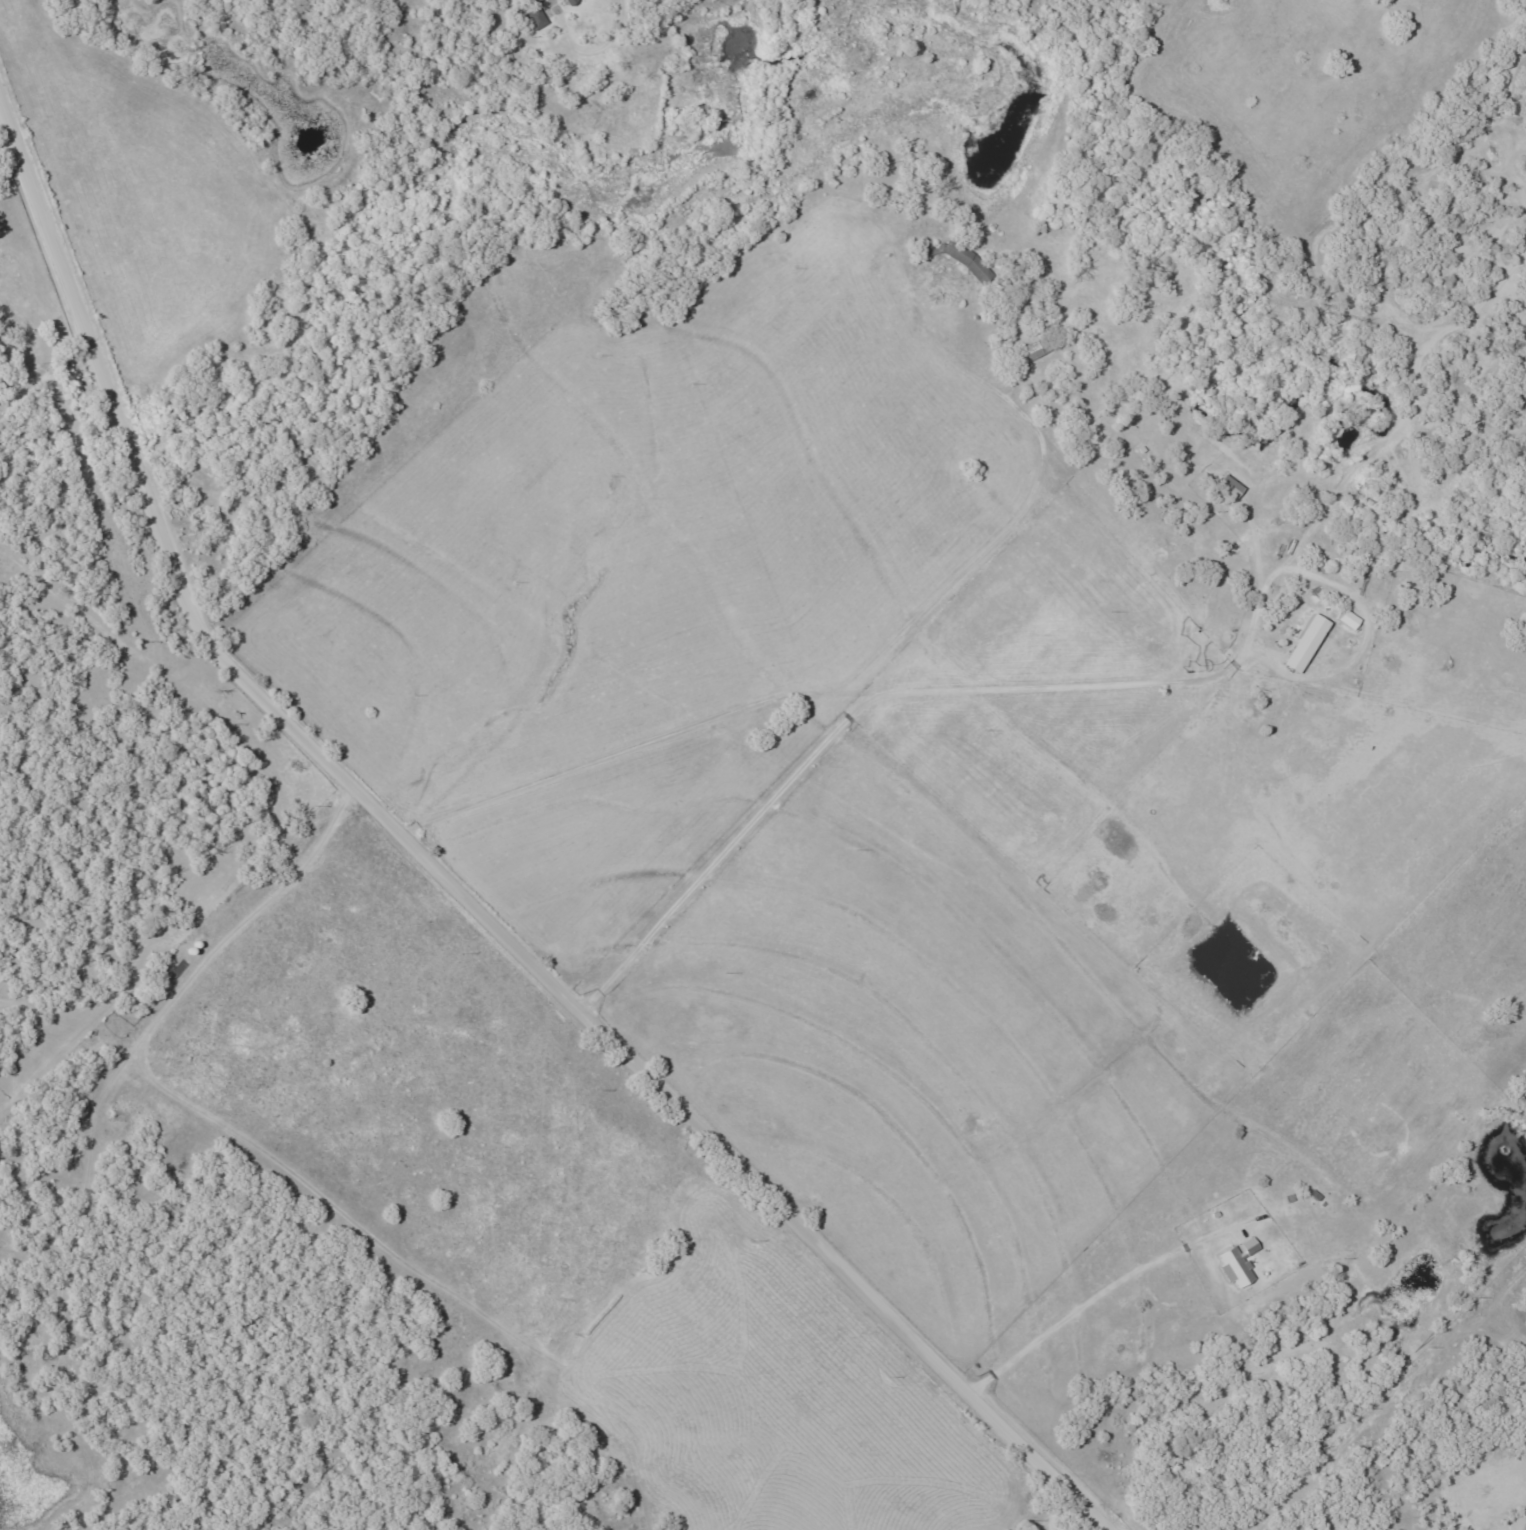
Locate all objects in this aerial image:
building: (567, 0)
road: (312, 111)
building: (1350, 620)
building: (1308, 643)
road: (822, 697)
road: (172, 863)
road: (469, 867)
building: (1241, 1262)

